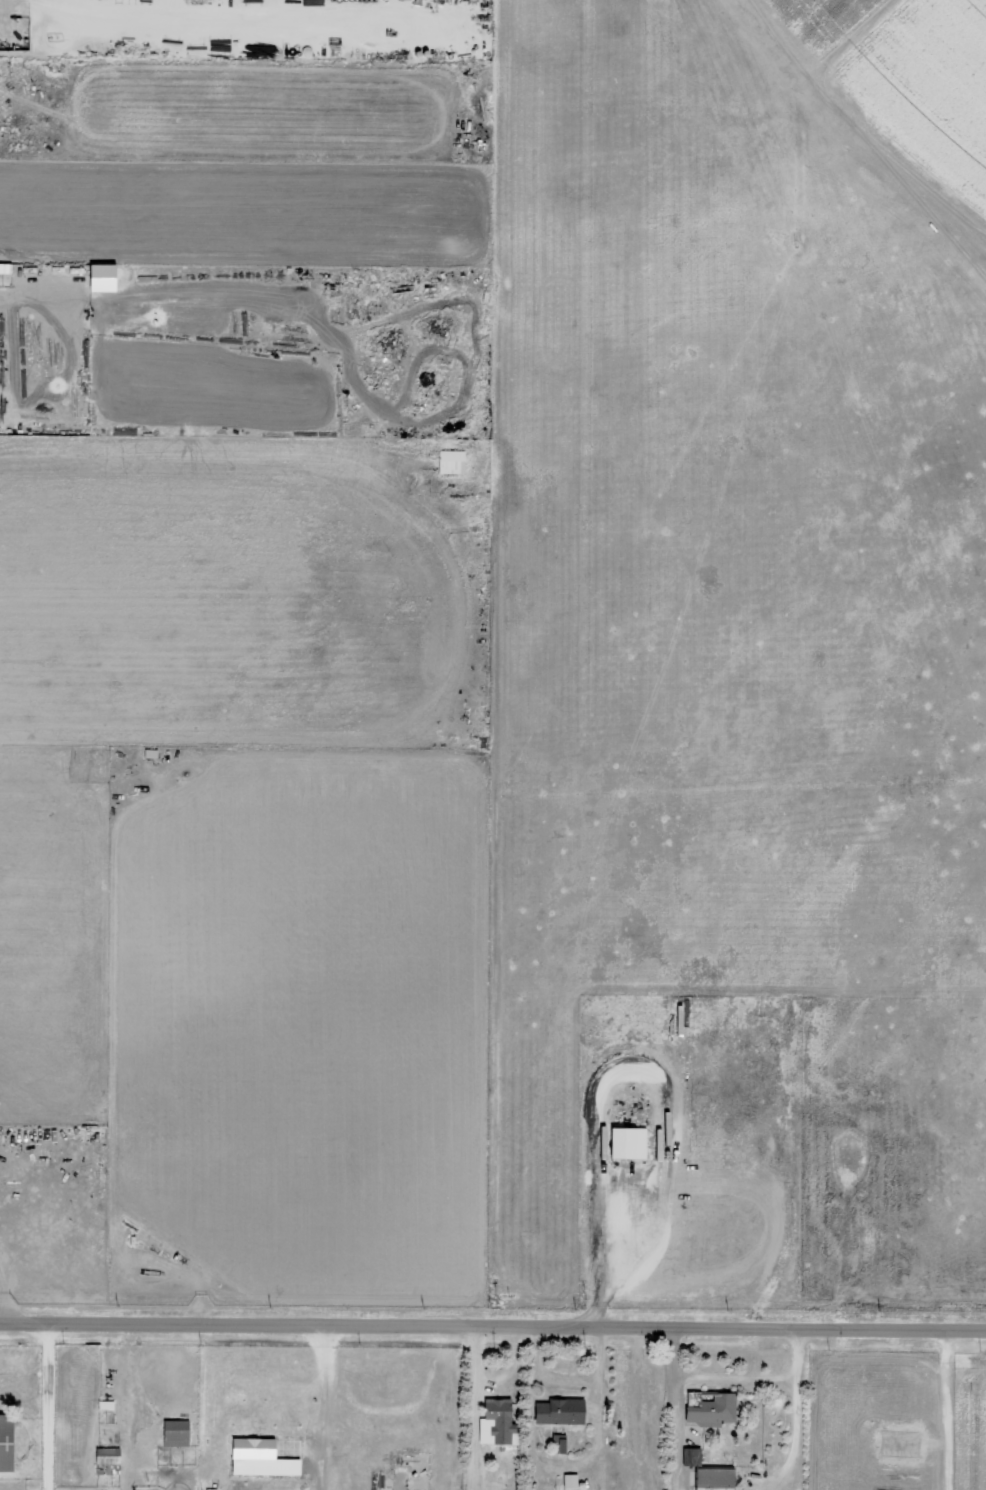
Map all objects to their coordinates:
building: (4, 267)
building: (100, 277)
building: (449, 460)
building: (625, 1142)
road: (493, 1322)
road: (47, 1404)
building: (712, 1410)
building: (557, 1411)
building: (495, 1422)
building: (173, 1432)
building: (6, 1442)
building: (558, 1443)
building: (690, 1456)
building: (257, 1458)
building: (711, 1477)
building: (568, 1480)

